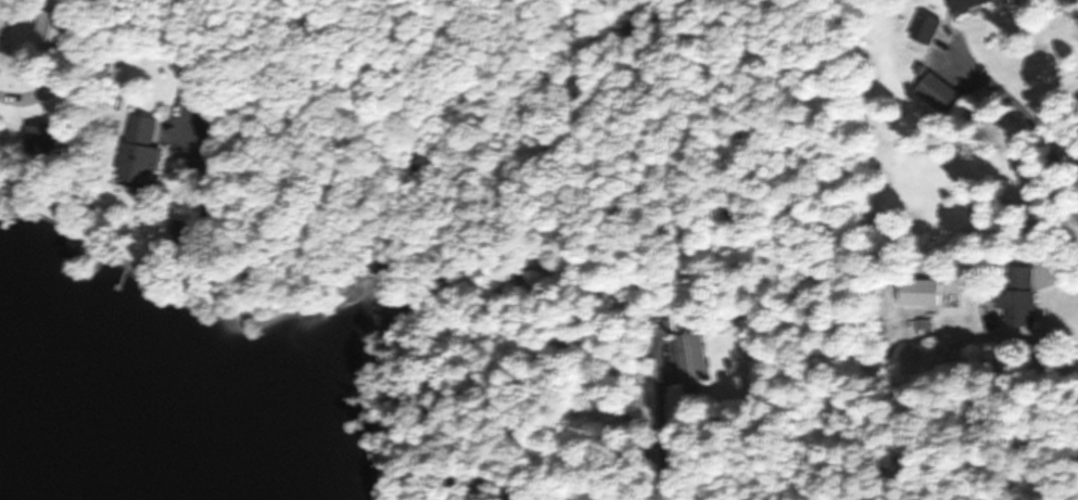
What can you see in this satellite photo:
building: (967, 4)
building: (1, 17)
building: (927, 28)
building: (941, 93)
building: (142, 152)
building: (1023, 295)
building: (692, 358)

